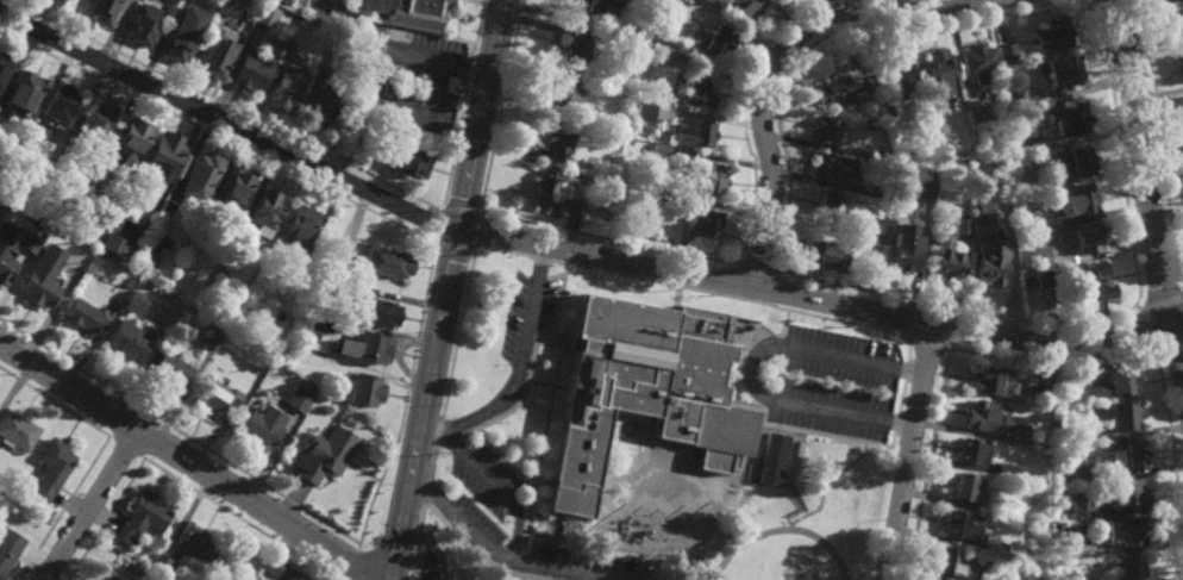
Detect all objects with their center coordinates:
building: (674, 0)
building: (677, 0)
building: (1182, 0)
building: (54, 1)
road: (1084, 1)
building: (1169, 1)
building: (591, 7)
building: (744, 7)
building: (220, 8)
building: (101, 12)
building: (406, 12)
building: (264, 15)
building: (282, 25)
building: (144, 26)
building: (1176, 27)
road: (476, 31)
building: (1054, 35)
road: (828, 36)
building: (294, 40)
building: (716, 40)
building: (179, 44)
building: (576, 50)
road: (777, 54)
building: (1006, 54)
building: (215, 56)
building: (978, 63)
building: (321, 67)
building: (1179, 67)
building: (937, 69)
building: (4, 70)
building: (251, 70)
building: (1062, 70)
road: (469, 71)
building: (897, 80)
building: (284, 88)
building: (694, 91)
building: (838, 91)
building: (568, 92)
building: (25, 94)
building: (1015, 96)
building: (62, 104)
road: (224, 105)
road: (497, 106)
building: (320, 107)
building: (644, 111)
building: (885, 112)
building: (976, 112)
road: (743, 114)
building: (957, 116)
building: (1, 120)
building: (870, 120)
building: (1068, 120)
building: (98, 121)
road: (227, 124)
building: (651, 130)
building: (825, 130)
building: (695, 131)
road: (217, 135)
building: (350, 136)
building: (134, 138)
building: (557, 138)
building: (32, 141)
road: (1160, 142)
road: (455, 145)
building: (1027, 145)
building: (658, 148)
road: (1118, 151)
building: (165, 152)
building: (880, 157)
building: (1076, 158)
building: (411, 161)
building: (57, 167)
building: (833, 167)
building: (206, 170)
building: (706, 177)
building: (99, 182)
building: (237, 183)
building: (876, 187)
building: (925, 188)
building: (556, 193)
road: (1145, 193)
building: (655, 197)
building: (1078, 200)
building: (827, 202)
building: (173, 205)
building: (982, 208)
building: (268, 210)
road: (461, 210)
building: (702, 219)
building: (1028, 220)
road: (439, 222)
building: (206, 223)
traffic signals: (459, 224)
building: (962, 225)
building: (874, 226)
building: (299, 227)
road: (480, 230)
building: (1085, 237)
road: (605, 238)
road: (503, 241)
building: (31, 242)
road: (457, 242)
building: (117, 243)
building: (906, 245)
road: (543, 249)
building: (231, 252)
building: (830, 252)
building: (1039, 256)
building: (384, 261)
building: (947, 261)
building: (1027, 262)
building: (79, 266)
building: (7, 267)
building: (989, 267)
building: (226, 269)
building: (296, 274)
building: (348, 276)
road: (557, 276)
building: (1043, 276)
building: (1091, 280)
building: (346, 286)
building: (42, 288)
road: (446, 289)
road: (733, 291)
road: (821, 291)
building: (120, 293)
road: (1160, 303)
building: (134, 304)
building: (174, 304)
parking lot: (533, 305)
road: (1135, 307)
road: (956, 308)
building: (377, 311)
building: (165, 313)
building: (84, 317)
road: (1144, 329)
road: (459, 333)
road: (752, 335)
road: (933, 336)
road: (547, 337)
building: (214, 338)
road: (571, 339)
building: (129, 342)
building: (365, 344)
road: (1168, 345)
road: (1150, 353)
road: (536, 358)
road: (762, 361)
road: (1050, 361)
road: (518, 366)
building: (174, 368)
building: (645, 374)
road: (549, 375)
building: (1081, 375)
parking lot: (841, 376)
building: (990, 381)
building: (1038, 381)
building: (1115, 382)
building: (365, 389)
road: (753, 391)
road: (405, 394)
building: (217, 397)
building: (300, 398)
road: (906, 398)
road: (56, 405)
building: (1118, 414)
building: (981, 416)
road: (119, 419)
road: (550, 422)
road: (820, 425)
building: (263, 426)
road: (800, 429)
building: (17, 430)
road: (179, 432)
building: (1019, 432)
road: (437, 434)
building: (1072, 436)
road: (447, 439)
road: (152, 441)
road: (125, 449)
road: (918, 449)
building: (970, 451)
road: (513, 453)
building: (1128, 455)
building: (326, 456)
road: (433, 459)
building: (772, 459)
road: (931, 461)
road: (193, 464)
road: (1170, 466)
building: (52, 469)
building: (1082, 469)
road: (539, 470)
building: (1009, 470)
parking lot: (493, 473)
road: (609, 481)
road: (495, 487)
building: (964, 487)
road: (427, 489)
building: (1127, 493)
road: (822, 498)
building: (1079, 504)
road: (92, 505)
building: (1000, 506)
road: (63, 509)
road: (422, 516)
parking lot: (481, 517)
building: (143, 518)
road: (236, 519)
road: (106, 520)
road: (532, 524)
building: (964, 526)
building: (1039, 526)
building: (1125, 531)
building: (1057, 540)
road: (415, 545)
road: (443, 547)
building: (195, 549)
track: (728, 553)
road: (422, 555)
building: (7, 556)
parking lot: (584, 556)
road: (514, 557)
building: (159, 563)
road: (353, 565)
building: (956, 565)
building: (1132, 568)
building: (278, 569)
road: (505, 570)
road: (411, 575)
building: (563, 576)
building: (1064, 576)
building: (111, 578)
road: (520, 578)
park: (728, 579)
building: (997, 579)

